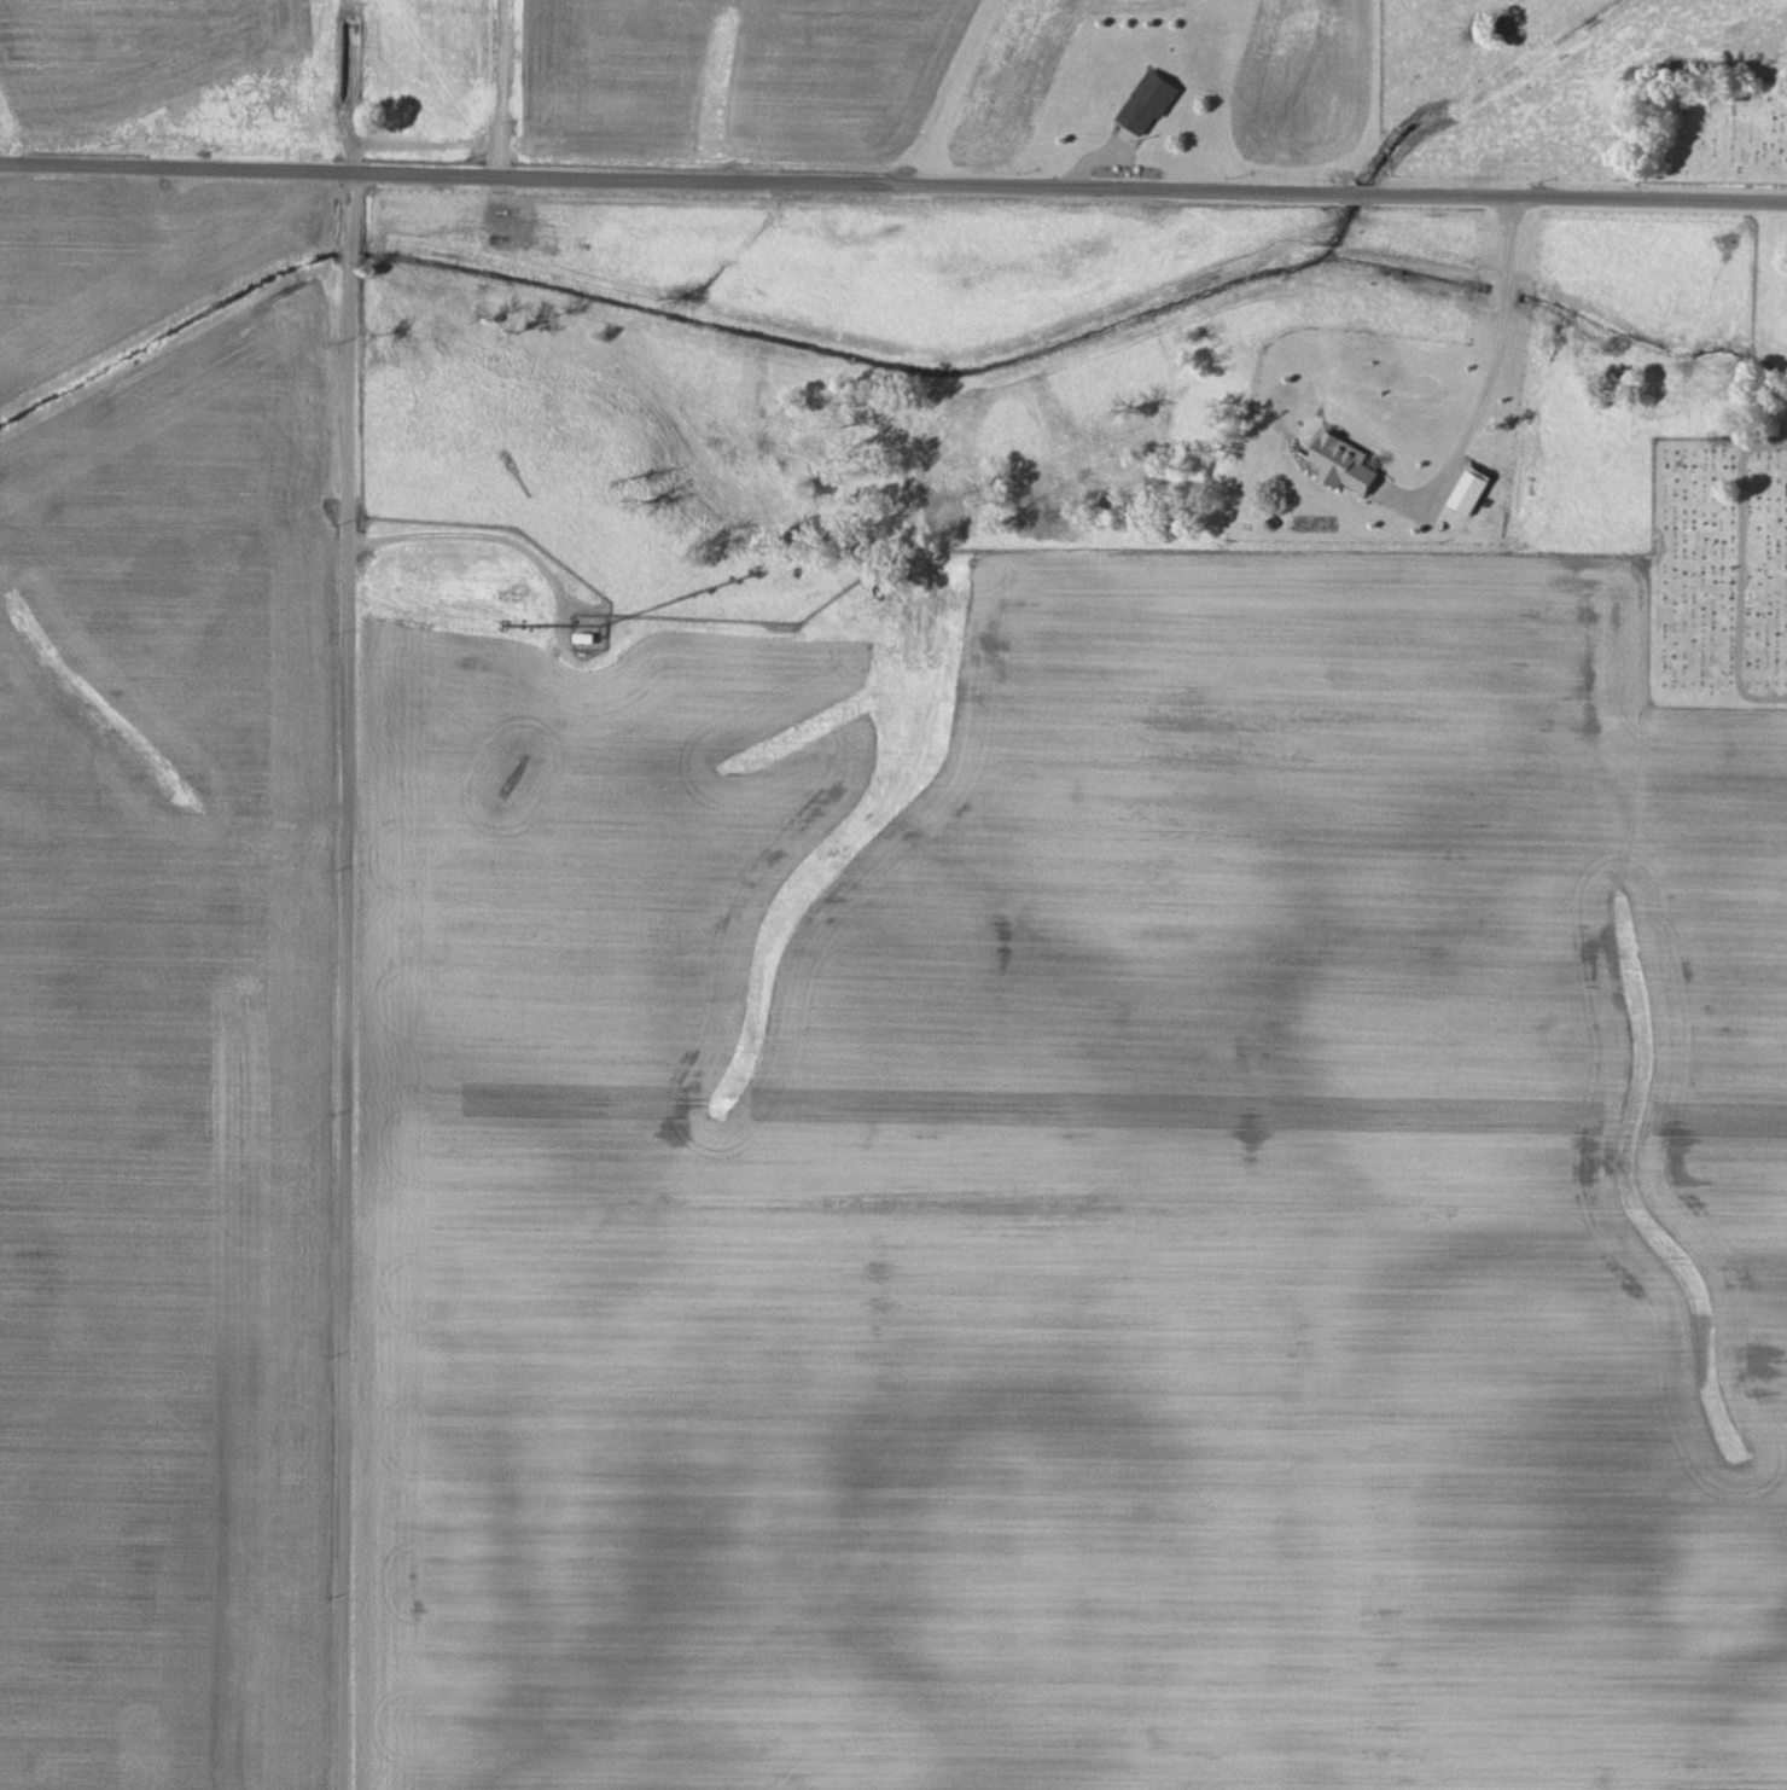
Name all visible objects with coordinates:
road: (503, 88)
building: (1147, 101)
park: (1710, 128)
road: (453, 176)
road: (1346, 192)
road: (1491, 379)
building: (1341, 460)
building: (1467, 490)
road: (491, 536)
park: (1725, 536)
road: (350, 982)

